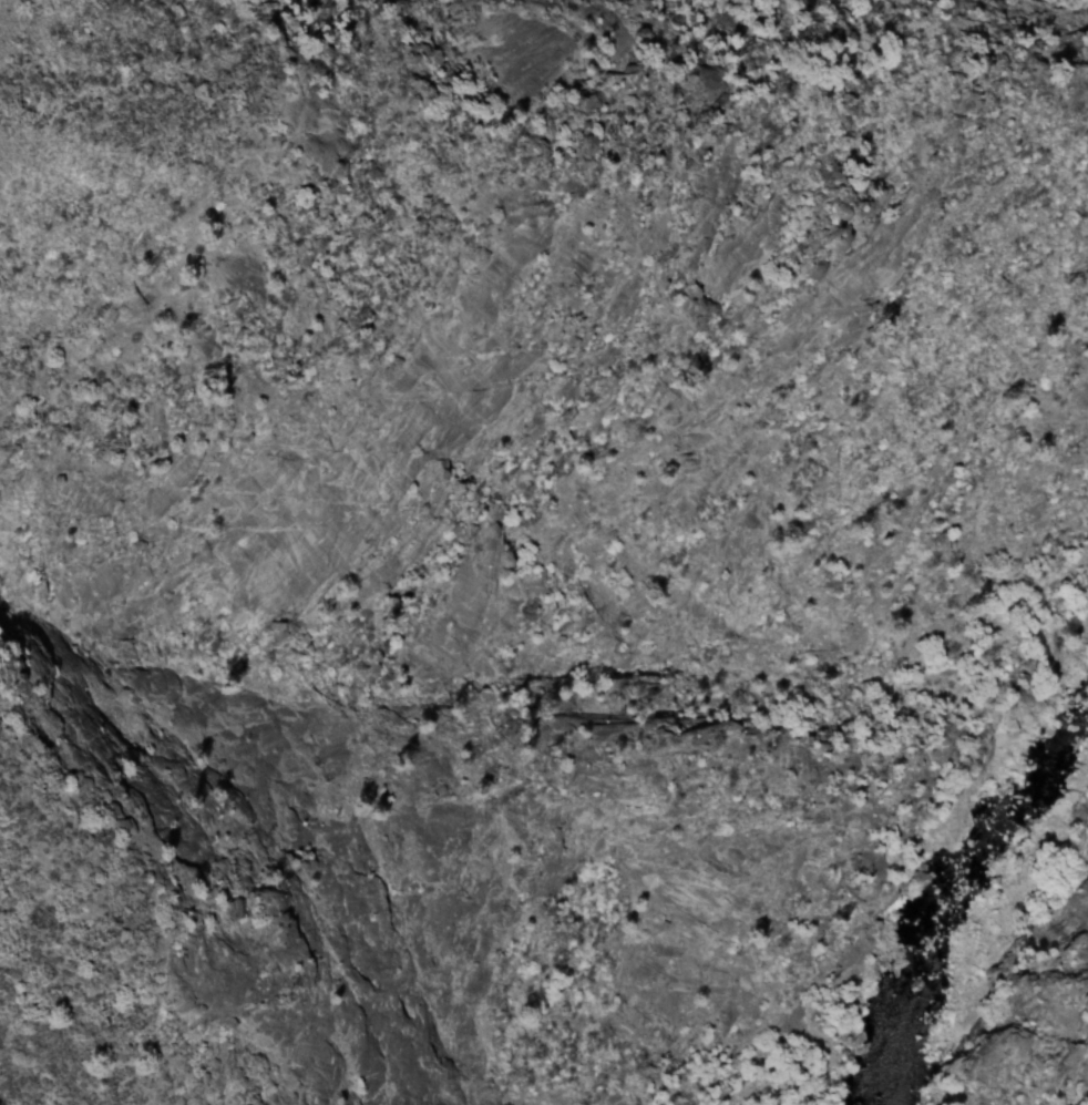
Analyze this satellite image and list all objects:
river: (953, 904)

